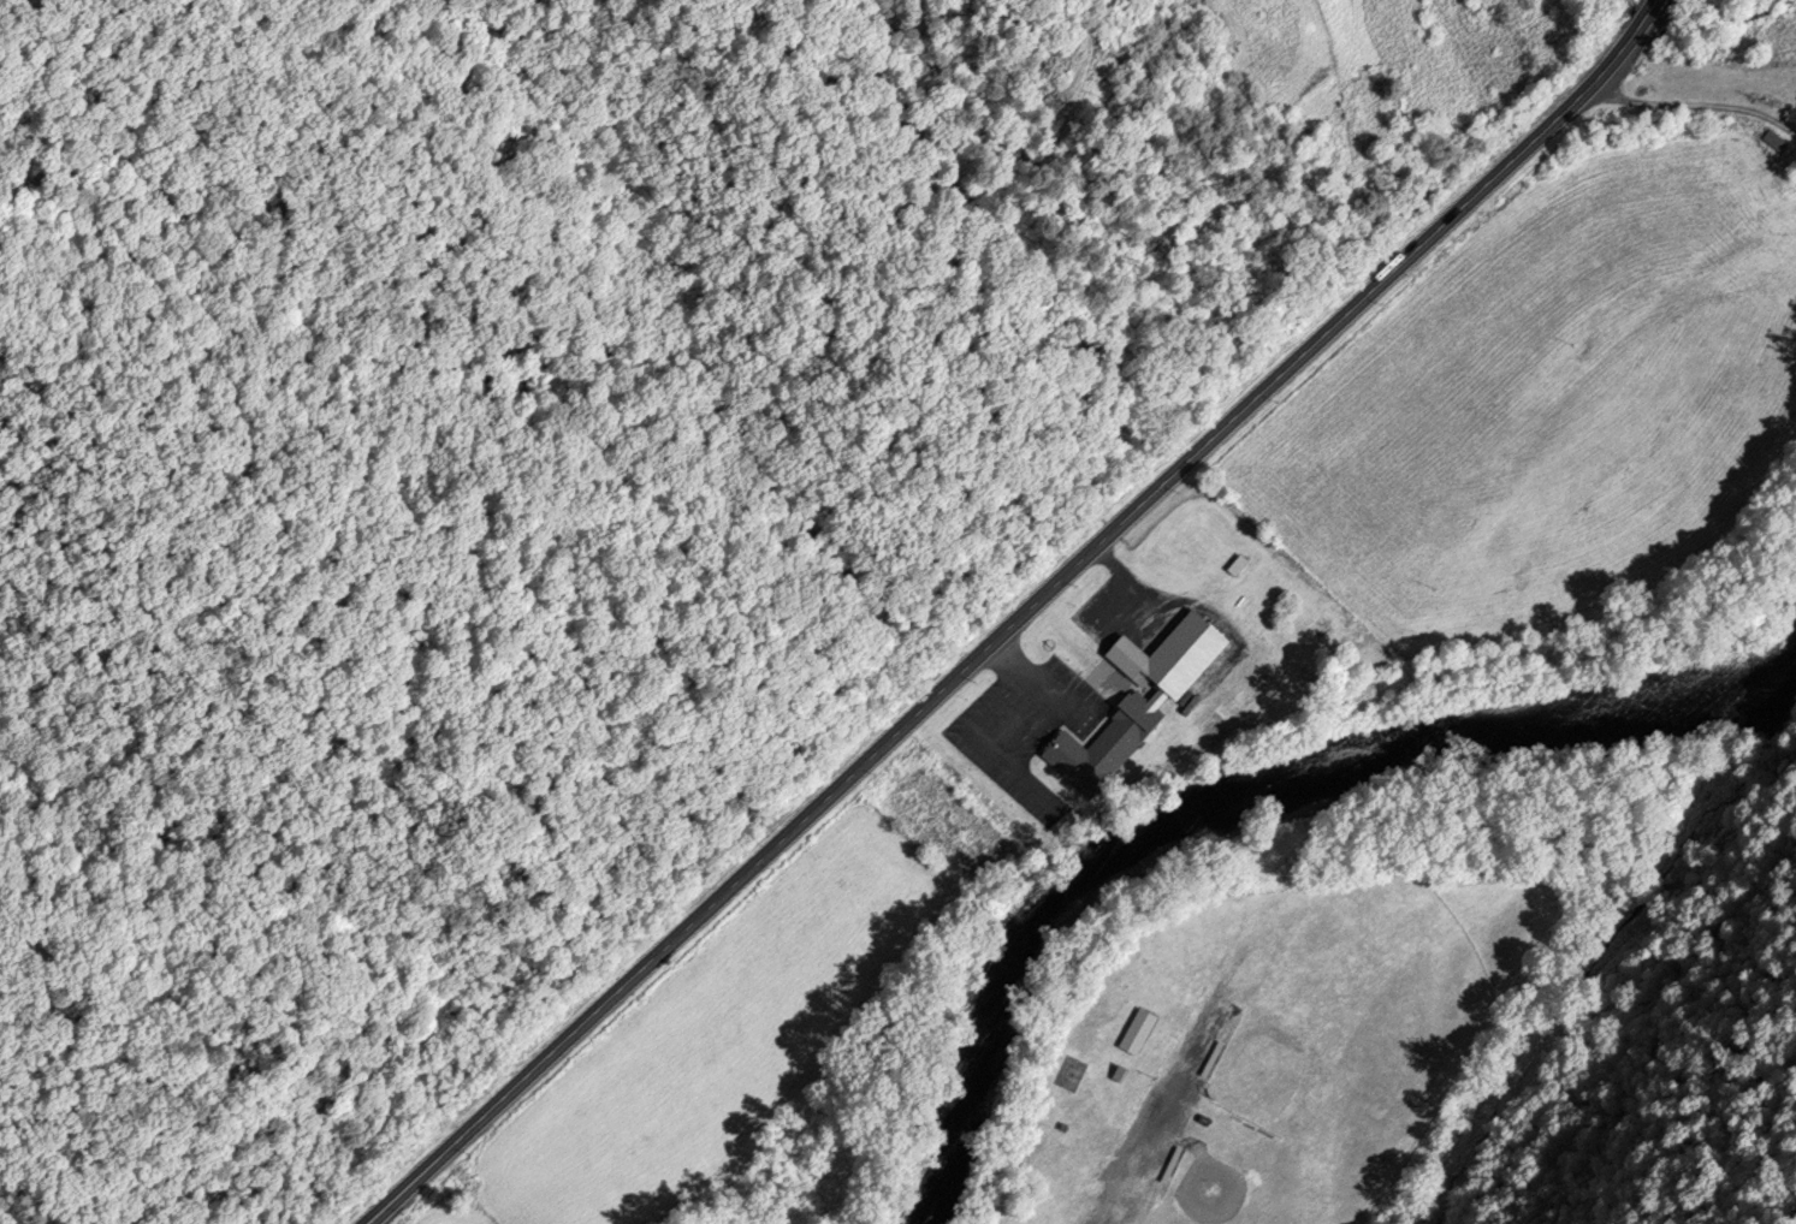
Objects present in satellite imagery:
park: (1392, 85)
road: (1697, 106)
building: (1776, 141)
road: (1095, 553)
building: (1217, 572)
road: (1143, 584)
road: (1026, 677)
parking lot: (1027, 724)
building: (1103, 745)
road: (985, 748)
river: (1250, 772)
road: (1031, 786)
building: (1138, 1034)
park: (1336, 1050)
building: (1213, 1060)
park: (1258, 1062)
building: (1121, 1076)
building: (1223, 1115)
road: (1149, 1122)
building: (1204, 1122)
building: (1237, 1122)
building: (1251, 1128)
building: (1065, 1129)
road: (443, 1159)
building: (1172, 1167)
park: (1226, 1195)

